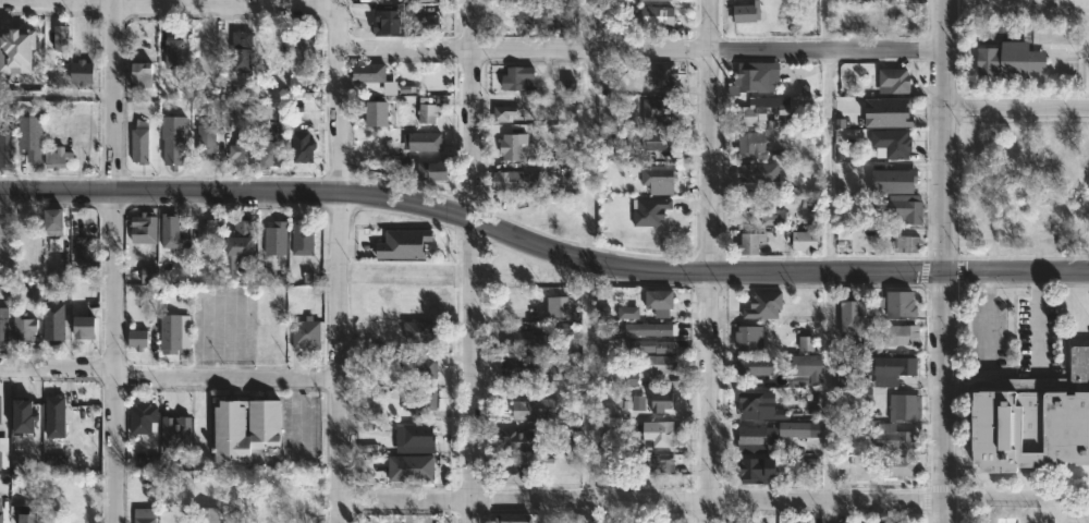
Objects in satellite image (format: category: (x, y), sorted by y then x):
building: (427, 0)
building: (518, 0)
building: (646, 0)
road: (169, 5)
building: (746, 12)
building: (548, 16)
building: (657, 16)
building: (426, 23)
building: (61, 36)
building: (273, 39)
park: (1087, 47)
building: (16, 49)
road: (644, 49)
building: (241, 50)
building: (173, 52)
building: (304, 54)
building: (1011, 60)
building: (85, 71)
building: (365, 72)
building: (665, 74)
building: (140, 75)
building: (517, 77)
building: (756, 78)
building: (894, 81)
road: (57, 94)
road: (1018, 107)
building: (656, 109)
building: (761, 109)
building: (428, 112)
building: (889, 112)
building: (376, 113)
building: (506, 113)
building: (29, 136)
building: (172, 139)
building: (608, 139)
building: (659, 139)
building: (207, 141)
building: (423, 141)
building: (893, 142)
building: (139, 143)
building: (752, 145)
building: (303, 146)
building: (512, 146)
building: (242, 148)
building: (7, 149)
building: (268, 153)
building: (57, 158)
road: (829, 160)
building: (397, 169)
building: (431, 171)
building: (758, 171)
building: (659, 179)
building: (896, 180)
building: (515, 181)
road: (237, 191)
building: (905, 207)
building: (650, 210)
building: (773, 216)
building: (53, 219)
building: (144, 228)
building: (209, 231)
building: (171, 232)
building: (276, 238)
building: (302, 239)
building: (805, 241)
building: (750, 243)
building: (907, 243)
building: (54, 244)
building: (403, 245)
building: (238, 246)
building: (86, 252)
road: (115, 260)
road: (338, 260)
road: (473, 260)
road: (712, 260)
road: (947, 261)
road: (776, 271)
building: (148, 275)
building: (3, 285)
building: (661, 302)
building: (898, 303)
building: (764, 305)
building: (559, 306)
road: (212, 307)
building: (628, 312)
road: (988, 315)
building: (852, 317)
road: (1038, 321)
building: (53, 323)
building: (4, 324)
building: (90, 327)
building: (23, 328)
building: (564, 328)
building: (649, 329)
building: (602, 330)
building: (417, 331)
parking lot: (986, 333)
building: (306, 335)
building: (907, 335)
parking lot: (1038, 335)
building: (169, 336)
building: (750, 338)
building: (135, 341)
building: (527, 342)
building: (805, 342)
building: (635, 345)
building: (662, 364)
road: (235, 365)
building: (756, 366)
building: (522, 368)
building: (845, 368)
building: (426, 369)
building: (892, 369)
road: (168, 370)
building: (806, 370)
building: (627, 378)
road: (588, 380)
building: (418, 401)
building: (662, 401)
building: (637, 402)
building: (761, 406)
building: (905, 408)
building: (534, 409)
building: (0, 410)
building: (54, 410)
building: (25, 411)
road: (299, 416)
building: (142, 417)
building: (1036, 422)
building: (246, 427)
building: (799, 428)
building: (176, 431)
building: (660, 433)
building: (752, 435)
building: (893, 437)
building: (415, 439)
building: (603, 440)
building: (518, 441)
building: (366, 447)
building: (3, 453)
building: (54, 463)
building: (660, 463)
building: (411, 467)
building: (898, 467)
building: (756, 470)
building: (513, 471)
road: (641, 501)
building: (1, 509)
building: (27, 514)
building: (145, 514)
building: (208, 515)
park: (1076, 516)
building: (513, 518)
building: (770, 518)
building: (795, 522)
building: (874, 522)

